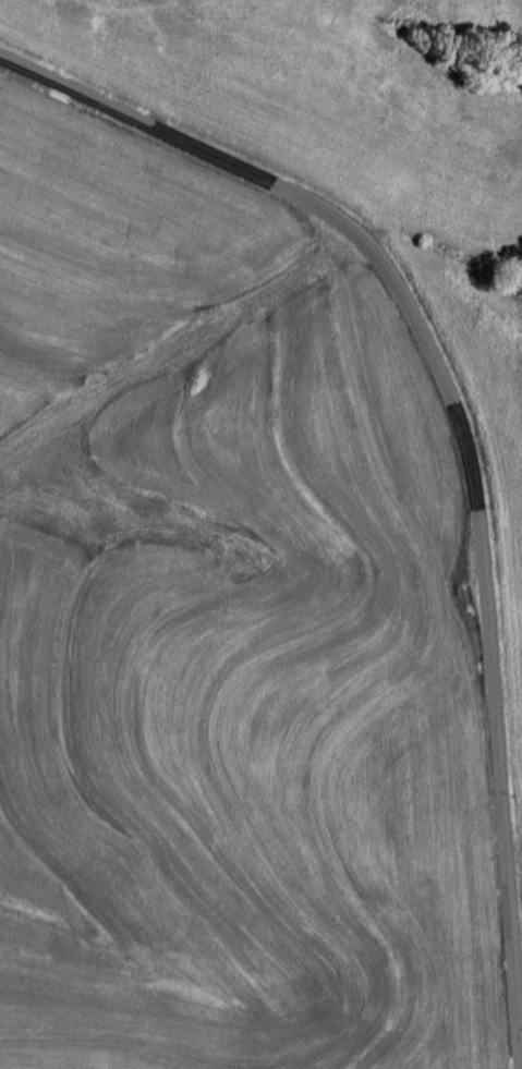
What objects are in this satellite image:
road: (465, 437)

